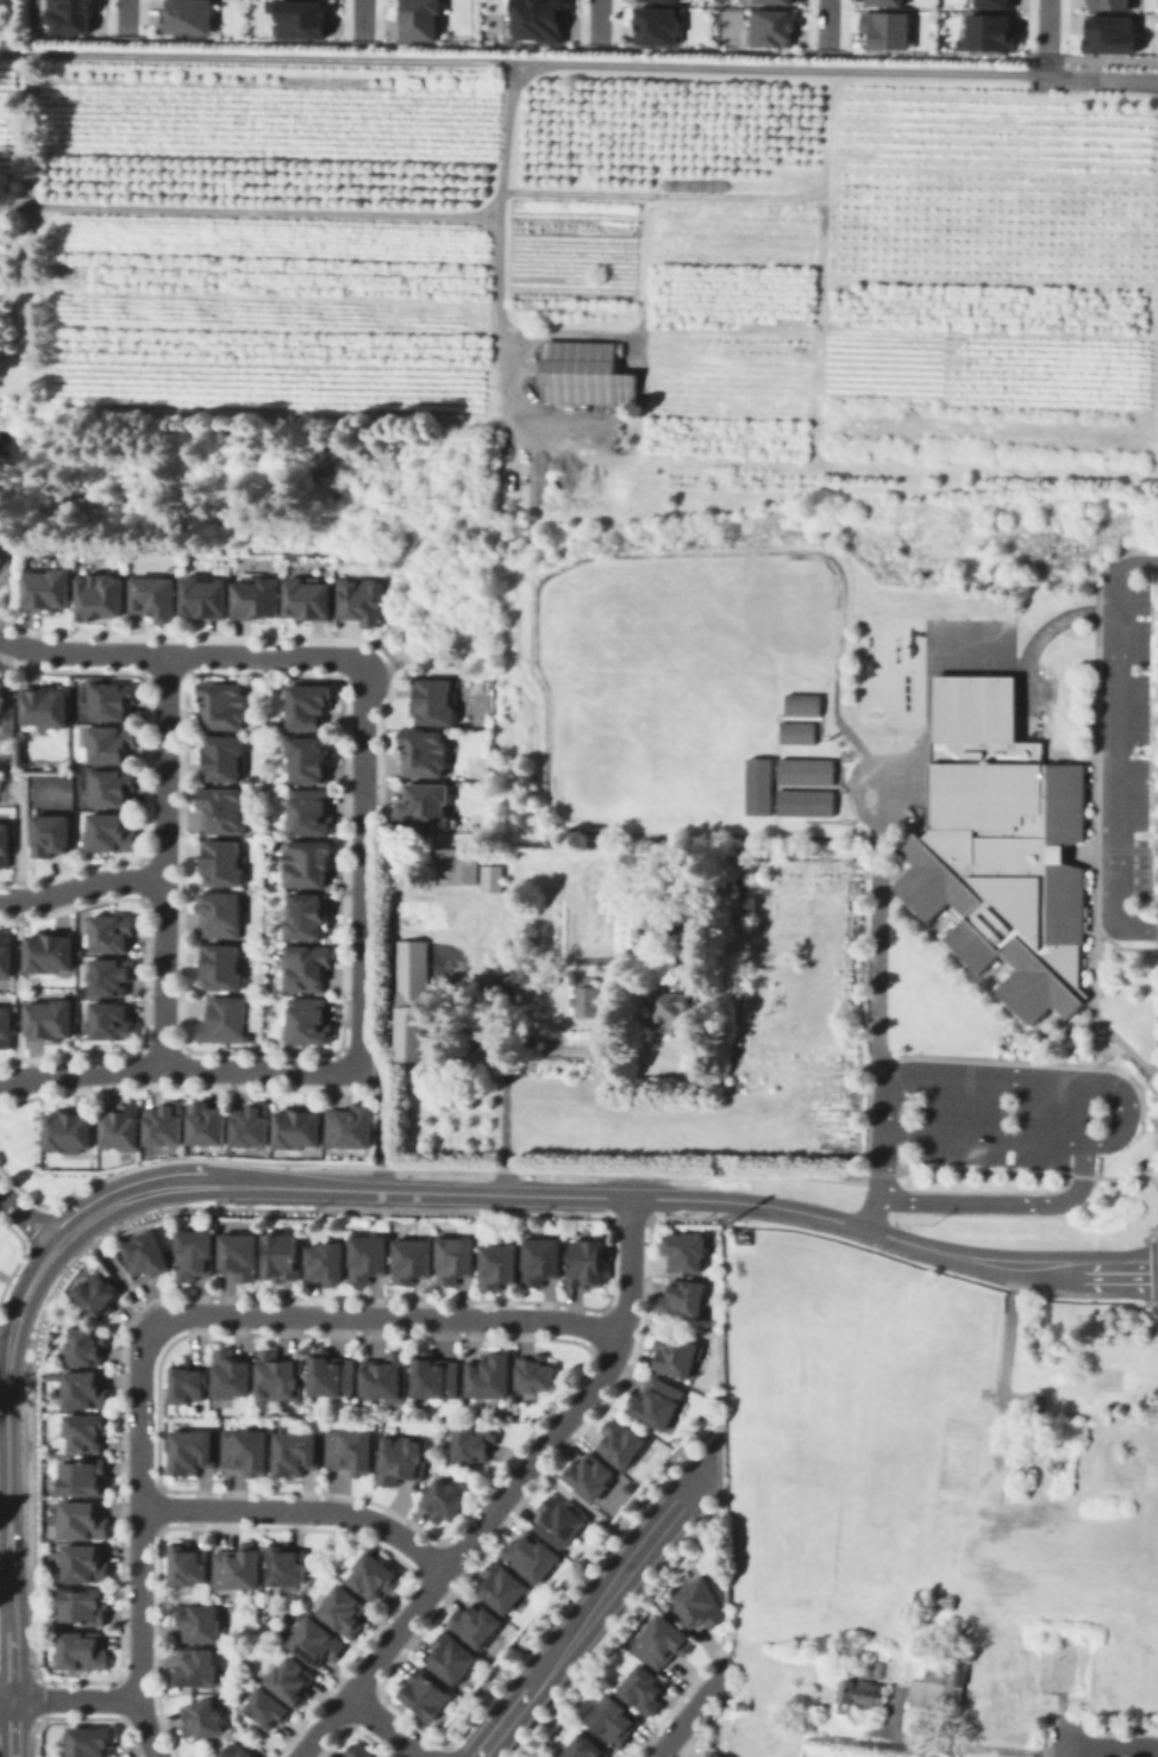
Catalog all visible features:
building: (662, 0)
building: (774, 0)
building: (881, 2)
building: (991, 2)
building: (1108, 2)
building: (276, 7)
road: (129, 15)
building: (74, 17)
road: (365, 17)
building: (193, 18)
building: (308, 20)
building: (424, 20)
road: (601, 20)
building: (543, 21)
building: (653, 21)
road: (828, 21)
building: (769, 26)
road: (1051, 26)
building: (883, 27)
building: (985, 30)
building: (1109, 35)
road: (578, 64)
road: (248, 210)
crop: (597, 255)
road: (496, 287)
building: (584, 375)
building: (2, 549)
road: (581, 557)
road: (1143, 563)
building: (46, 582)
building: (101, 587)
building: (155, 589)
building: (258, 589)
building: (206, 590)
building: (312, 590)
building: (362, 593)
park: (770, 617)
park: (934, 629)
park: (958, 629)
park: (984, 629)
road: (1038, 638)
park: (616, 639)
road: (180, 652)
park: (935, 658)
park: (957, 663)
park: (984, 663)
building: (113, 693)
building: (436, 694)
park: (705, 694)
building: (225, 698)
building: (309, 699)
building: (49, 700)
building: (800, 702)
building: (970, 707)
road: (1, 709)
road: (815, 725)
building: (795, 730)
building: (112, 736)
building: (427, 745)
parking lot: (1138, 745)
road: (1118, 748)
building: (225, 751)
building: (309, 751)
road: (1072, 754)
road: (1103, 754)
park: (615, 757)
building: (1040, 757)
park: (916, 759)
building: (802, 769)
park: (866, 770)
park: (890, 774)
building: (114, 780)
road: (835, 780)
building: (756, 784)
park: (916, 784)
road: (837, 787)
road: (849, 787)
road: (1094, 787)
building: (428, 798)
building: (801, 801)
building: (224, 802)
building: (311, 806)
building: (114, 825)
building: (55, 827)
building: (7, 837)
building: (1063, 852)
road: (1077, 852)
road: (1147, 855)
building: (224, 856)
building: (309, 857)
building: (903, 857)
road: (162, 859)
building: (444, 864)
building: (469, 864)
building: (1002, 864)
road: (361, 865)
road: (890, 868)
road: (1132, 871)
building: (490, 876)
building: (1082, 881)
road: (80, 887)
building: (715, 887)
building: (906, 901)
road: (1087, 902)
road: (903, 903)
building: (308, 907)
building: (953, 908)
building: (221, 909)
building: (1082, 909)
road: (935, 917)
road: (940, 920)
building: (1082, 924)
road: (20, 925)
building: (117, 927)
road: (1145, 928)
road: (1087, 932)
road: (1119, 945)
building: (56, 946)
building: (7, 949)
building: (958, 955)
building: (1002, 957)
building: (223, 959)
building: (307, 959)
road: (876, 961)
park: (442, 962)
building: (114, 970)
road: (990, 971)
road: (995, 977)
road: (984, 989)
road: (503, 995)
building: (409, 999)
building: (586, 999)
building: (676, 1001)
road: (1087, 1003)
building: (1009, 1007)
building: (1054, 1011)
road: (1051, 1012)
building: (54, 1014)
building: (117, 1014)
building: (225, 1015)
building: (308, 1015)
building: (7, 1023)
road: (1123, 1046)
building: (477, 1055)
road: (971, 1057)
road: (179, 1068)
road: (994, 1068)
road: (1156, 1074)
road: (964, 1095)
road: (1058, 1101)
building: (208, 1117)
building: (167, 1118)
building: (123, 1120)
building: (252, 1120)
building: (300, 1120)
building: (352, 1121)
road: (381, 1124)
building: (69, 1126)
parking lot: (1004, 1133)
road: (985, 1136)
road: (1097, 1159)
road: (1085, 1162)
road: (577, 1169)
road: (1151, 1180)
road: (652, 1195)
road: (105, 1196)
road: (962, 1196)
road: (8, 1200)
road: (44, 1215)
road: (30, 1231)
road: (1150, 1231)
building: (683, 1246)
building: (148, 1250)
building: (195, 1250)
building: (242, 1251)
road: (1150, 1251)
building: (283, 1252)
building: (370, 1252)
road: (57, 1255)
building: (457, 1255)
building: (413, 1256)
building: (543, 1256)
building: (589, 1258)
building: (330, 1259)
building: (500, 1261)
road: (24, 1274)
road: (120, 1275)
road: (10, 1277)
building: (96, 1290)
building: (683, 1294)
road: (387, 1313)
building: (87, 1340)
building: (675, 1350)
building: (537, 1368)
building: (231, 1370)
building: (332, 1371)
building: (492, 1371)
building: (386, 1373)
building: (437, 1373)
building: (280, 1374)
building: (1114, 1375)
building: (187, 1380)
building: (84, 1386)
building: (656, 1400)
building: (88, 1426)
building: (474, 1437)
building: (621, 1440)
building: (248, 1446)
building: (352, 1446)
building: (193, 1448)
building: (298, 1449)
building: (957, 1450)
building: (402, 1457)
building: (590, 1470)
building: (84, 1472)
crop: (900, 1477)
road: (4, 1489)
road: (505, 1492)
building: (444, 1496)
road: (582, 1506)
road: (300, 1507)
building: (83, 1517)
building: (558, 1517)
road: (138, 1539)
road: (7, 1551)
building: (530, 1552)
building: (86, 1559)
building: (189, 1561)
building: (288, 1561)
building: (239, 1564)
building: (375, 1571)
building: (502, 1583)
building: (934, 1599)
building: (699, 1600)
building: (661, 1601)
building: (84, 1602)
road: (593, 1606)
building: (344, 1608)
building: (199, 1619)
building: (476, 1620)
building: (663, 1638)
building: (319, 1639)
building: (83, 1646)
building: (451, 1655)
building: (1063, 1662)
building: (198, 1663)
building: (876, 1665)
building: (292, 1676)
building: (643, 1687)
building: (859, 1688)
building: (424, 1692)
building: (935, 1696)
road: (68, 1700)
building: (740, 1701)
building: (268, 1705)
road: (690, 1714)
building: (202, 1717)
building: (614, 1717)
road: (384, 1725)
road: (1063, 1738)
building: (92, 1740)
road: (957, 1744)
building: (582, 1747)
building: (359, 1750)
road: (1110, 1750)
building: (237, 1751)
building: (716, 1753)
road: (1063, 1755)

